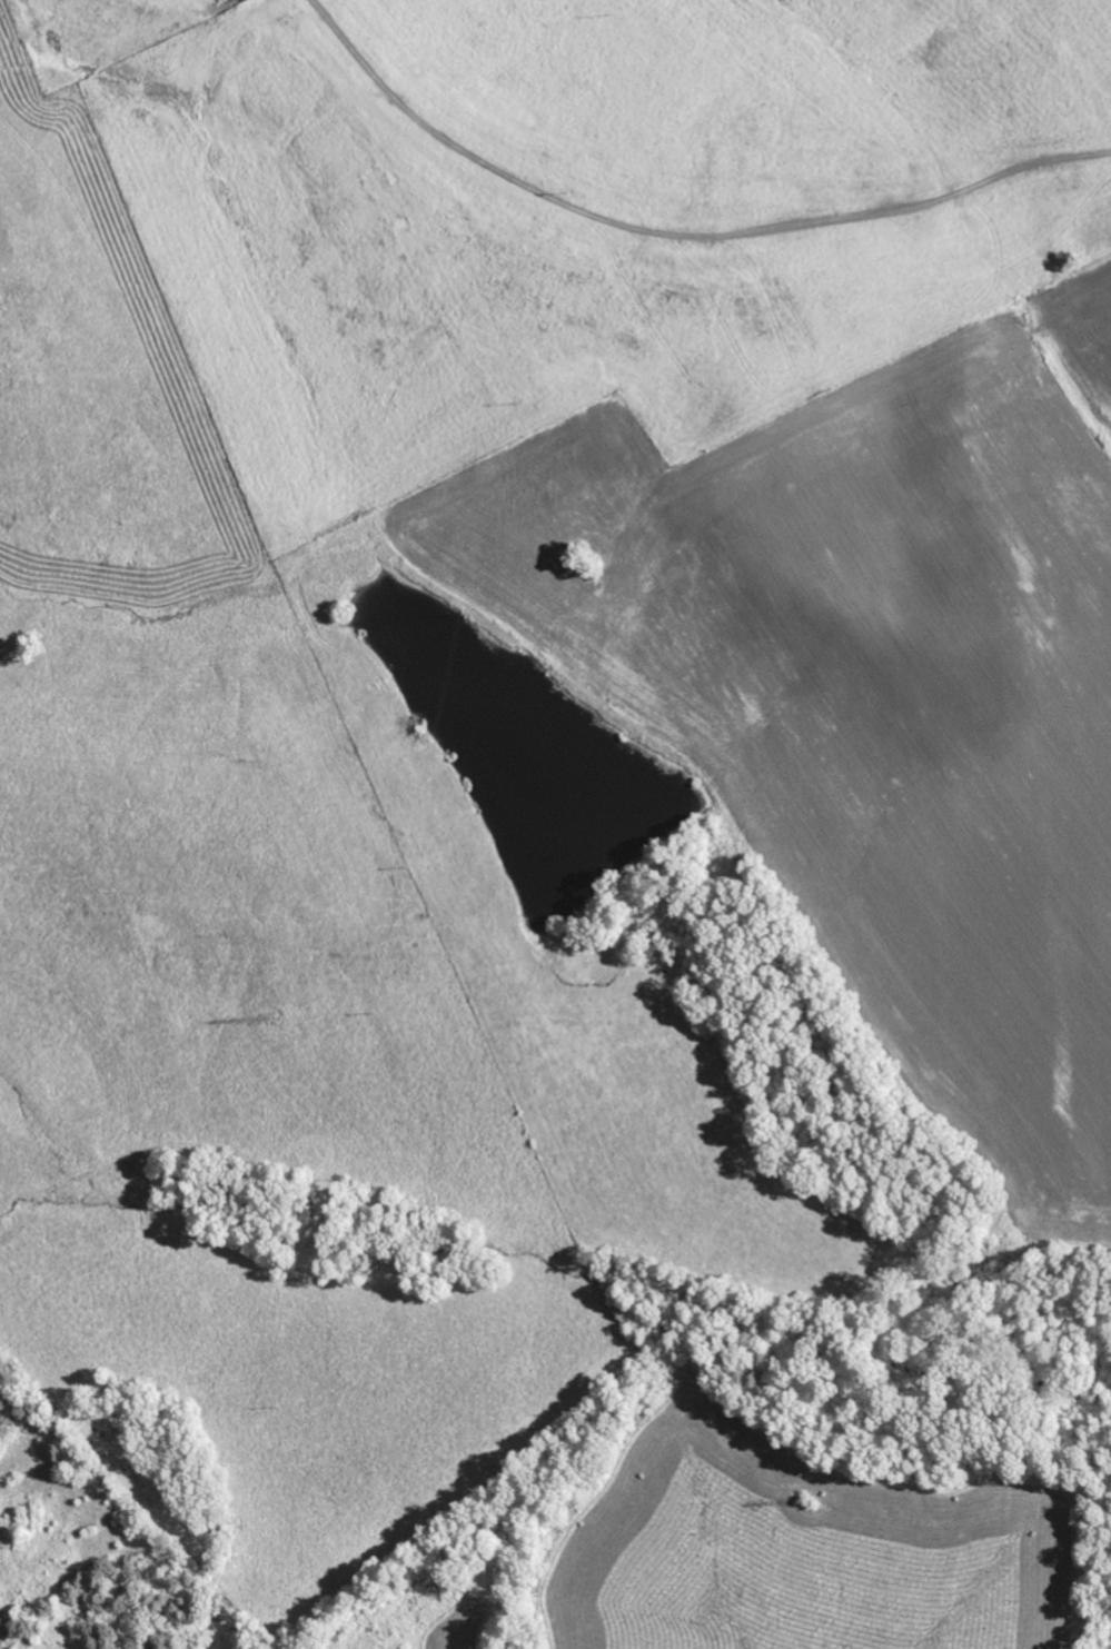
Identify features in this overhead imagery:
road: (675, 235)

